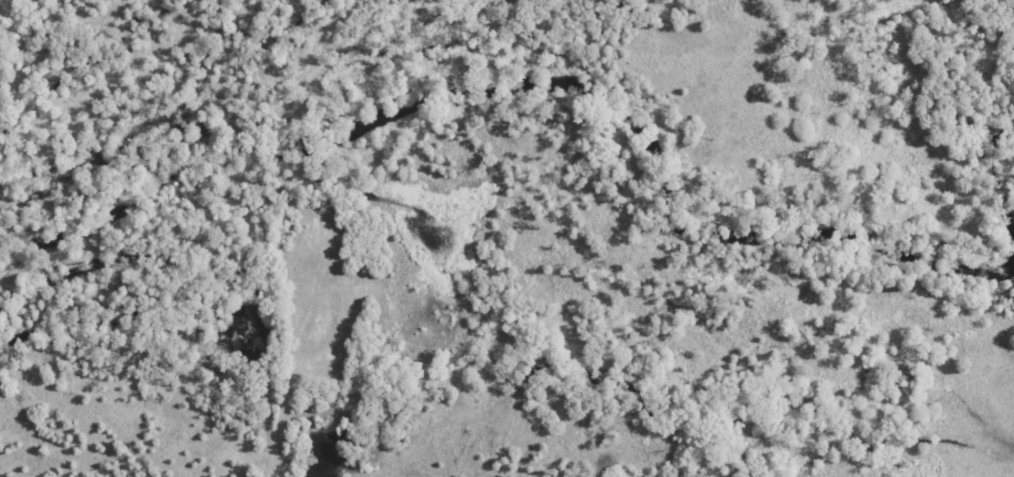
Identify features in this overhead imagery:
road: (307, 241)

